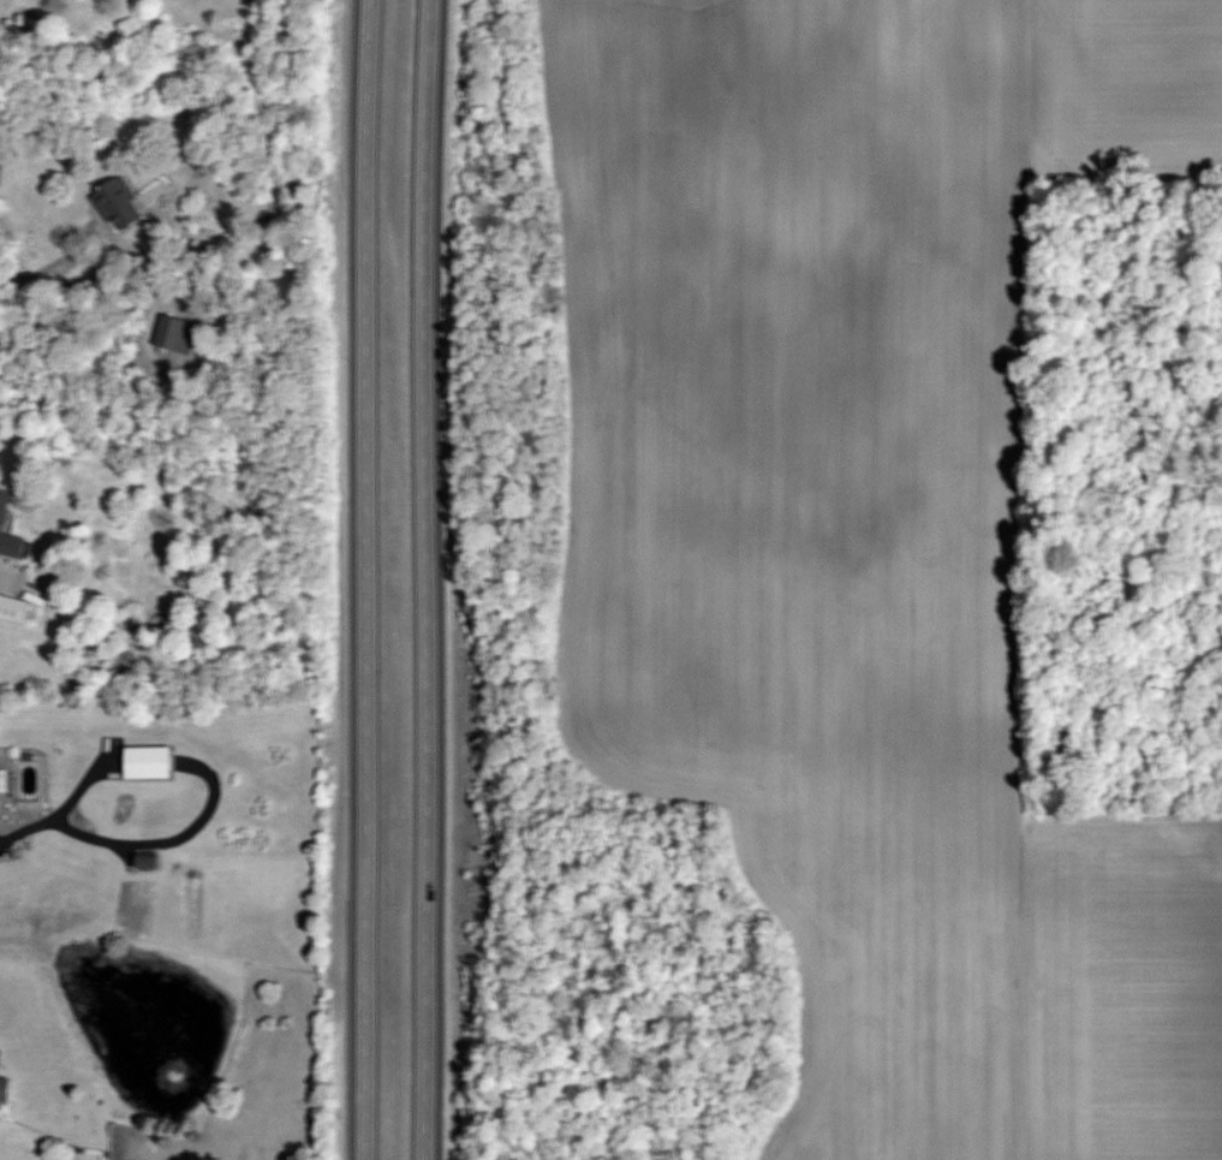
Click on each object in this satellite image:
building: (118, 203)
road: (79, 276)
building: (175, 333)
building: (2, 510)
road: (360, 579)
road: (422, 579)
building: (12, 606)
building: (148, 761)
building: (147, 859)
building: (4, 1087)

